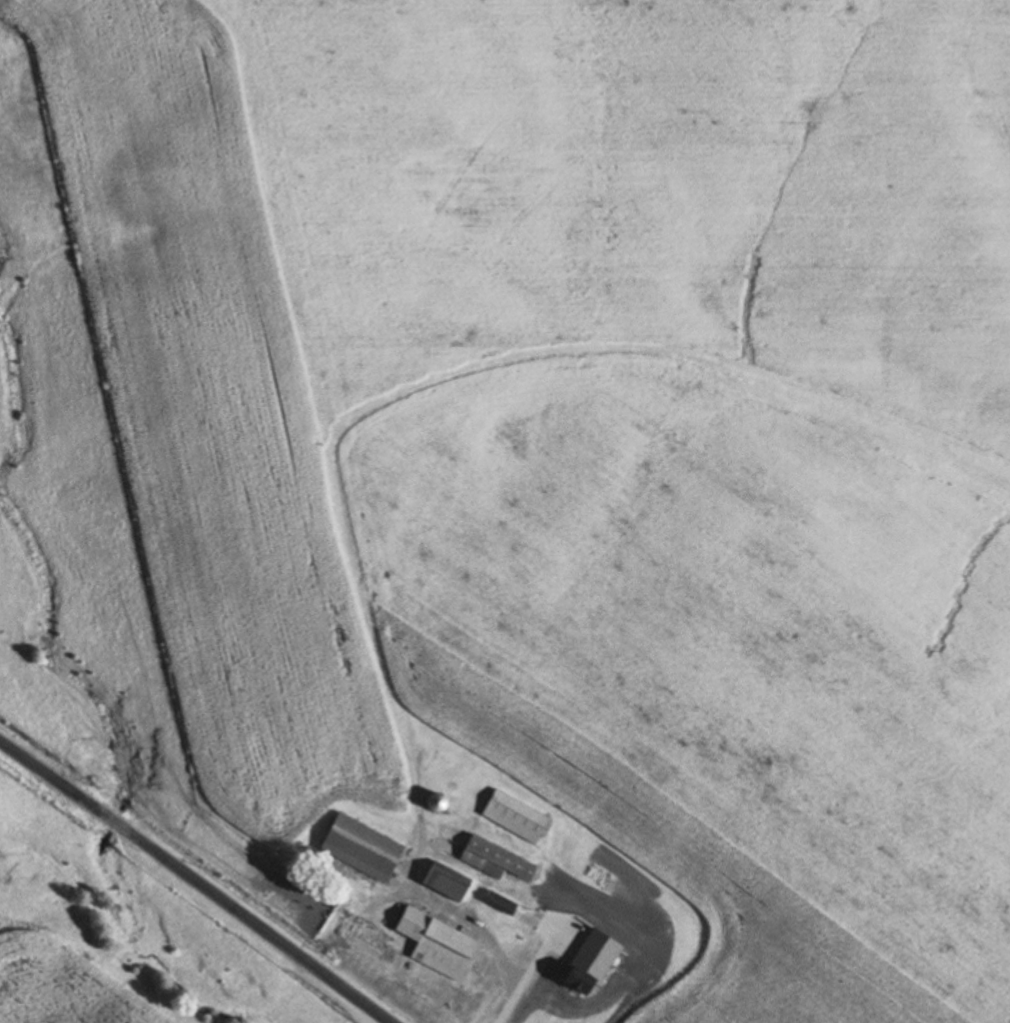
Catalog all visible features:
road: (195, 882)
road: (522, 986)

